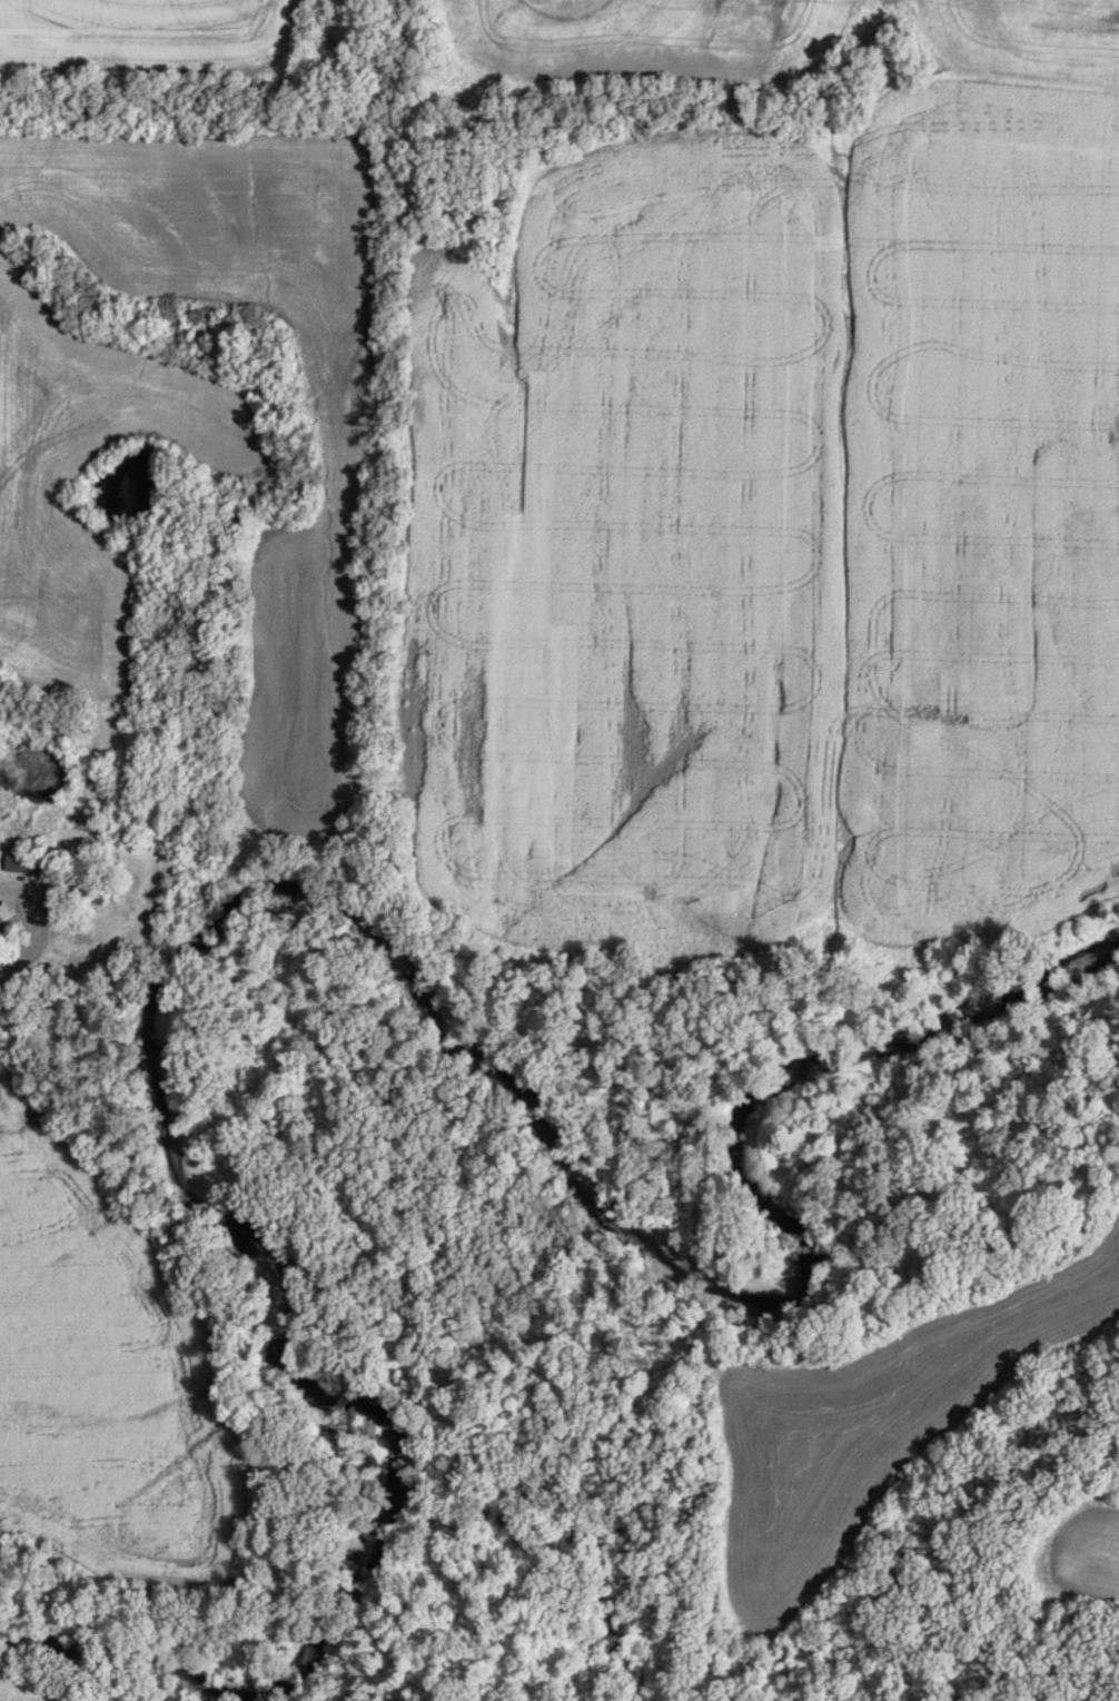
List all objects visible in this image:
building: (23, 863)
building: (95, 891)
road: (31, 948)

